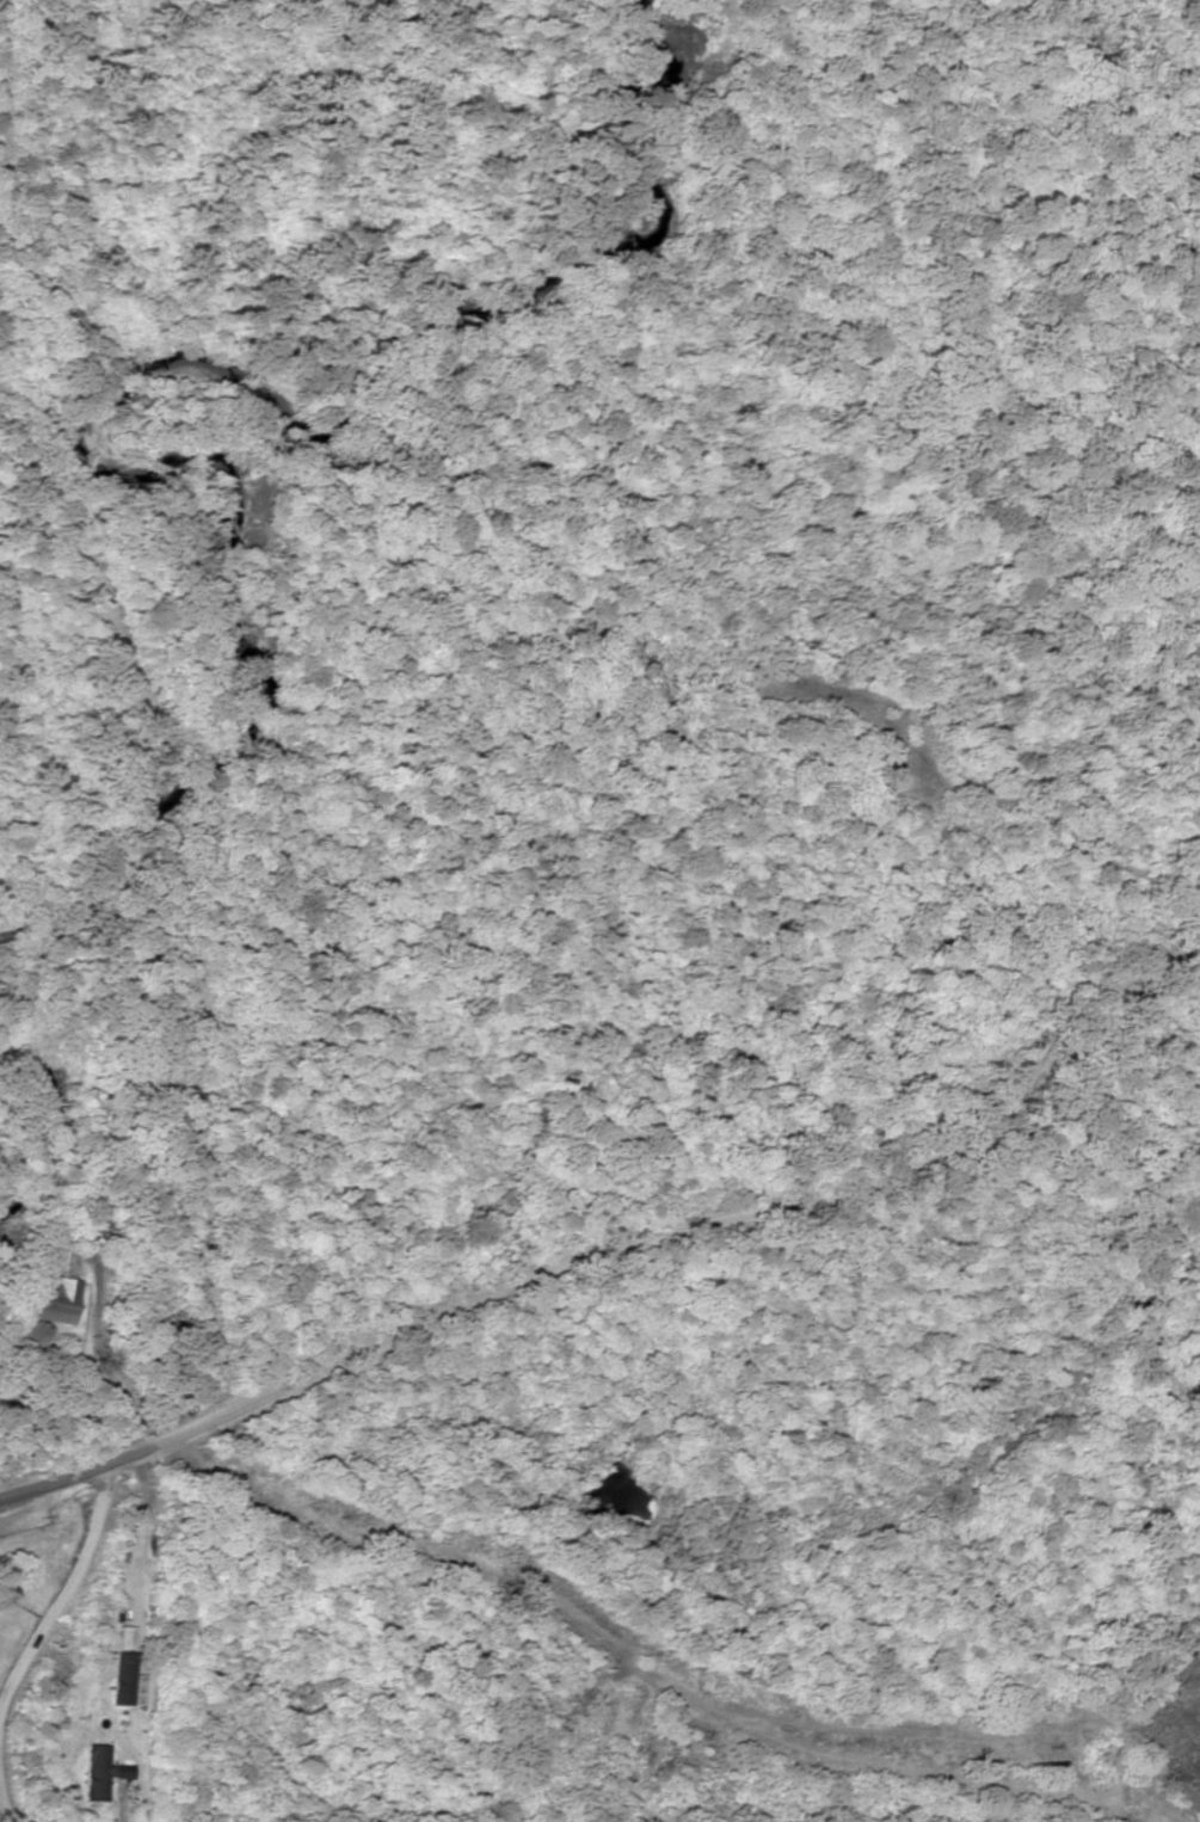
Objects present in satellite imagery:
road: (702, 1202)
building: (51, 1301)
road: (78, 1469)
road: (373, 1551)
road: (49, 1644)
building: (118, 1680)
building: (97, 1773)

